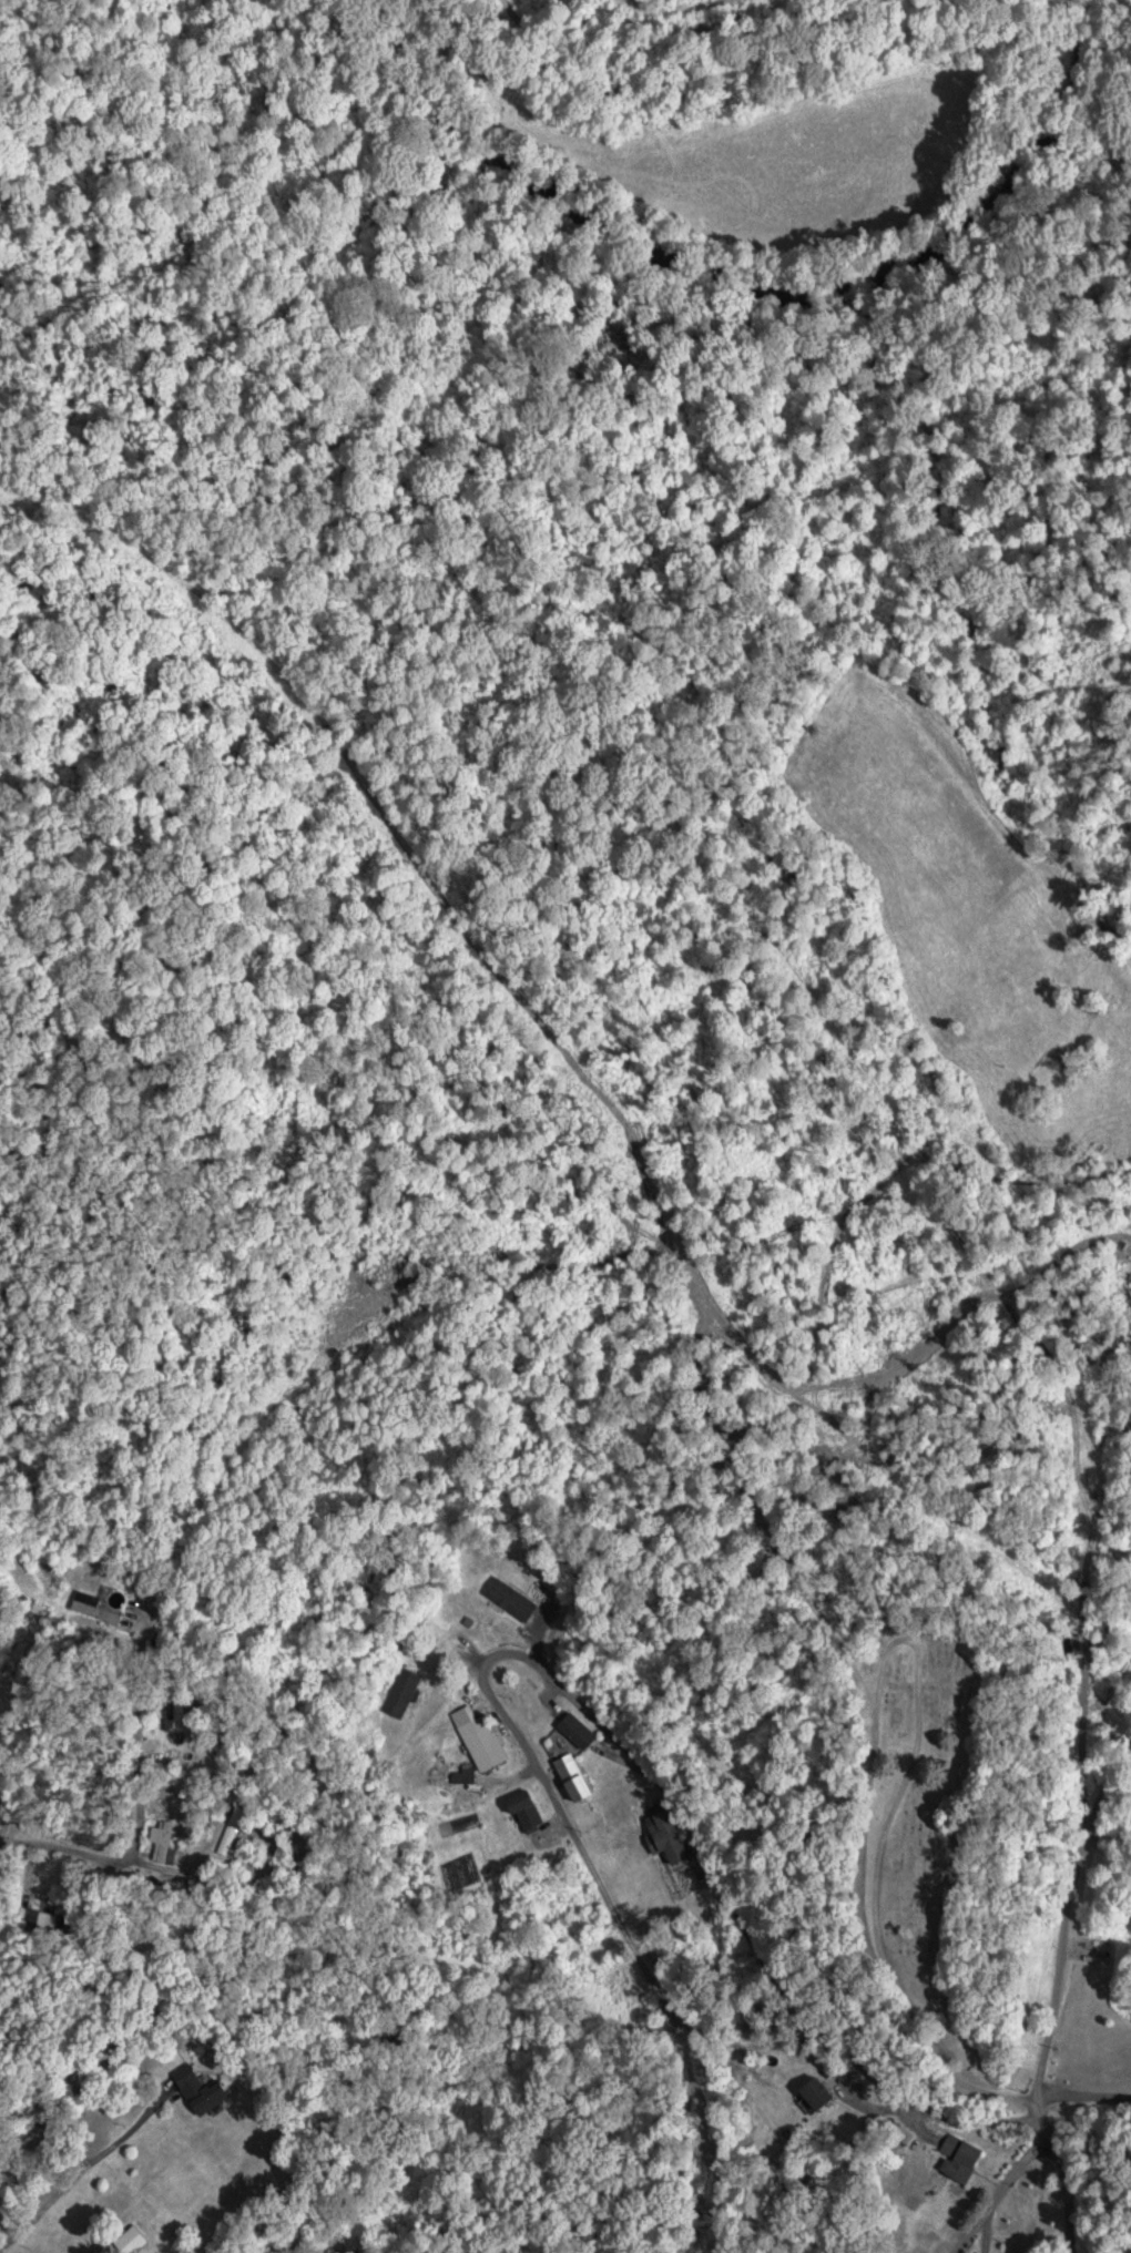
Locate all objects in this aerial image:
building: (511, 1598)
building: (99, 1604)
building: (403, 1691)
building: (179, 1712)
building: (578, 1730)
building: (489, 1742)
road: (632, 1754)
building: (463, 1773)
building: (573, 1776)
building: (526, 1809)
building: (231, 1829)
building: (668, 1836)
building: (163, 1842)
road: (1064, 1931)
road: (27, 2057)
building: (200, 2090)
building: (818, 2092)
building: (959, 2158)
road: (1000, 2193)
road: (1077, 2198)
building: (131, 2240)

